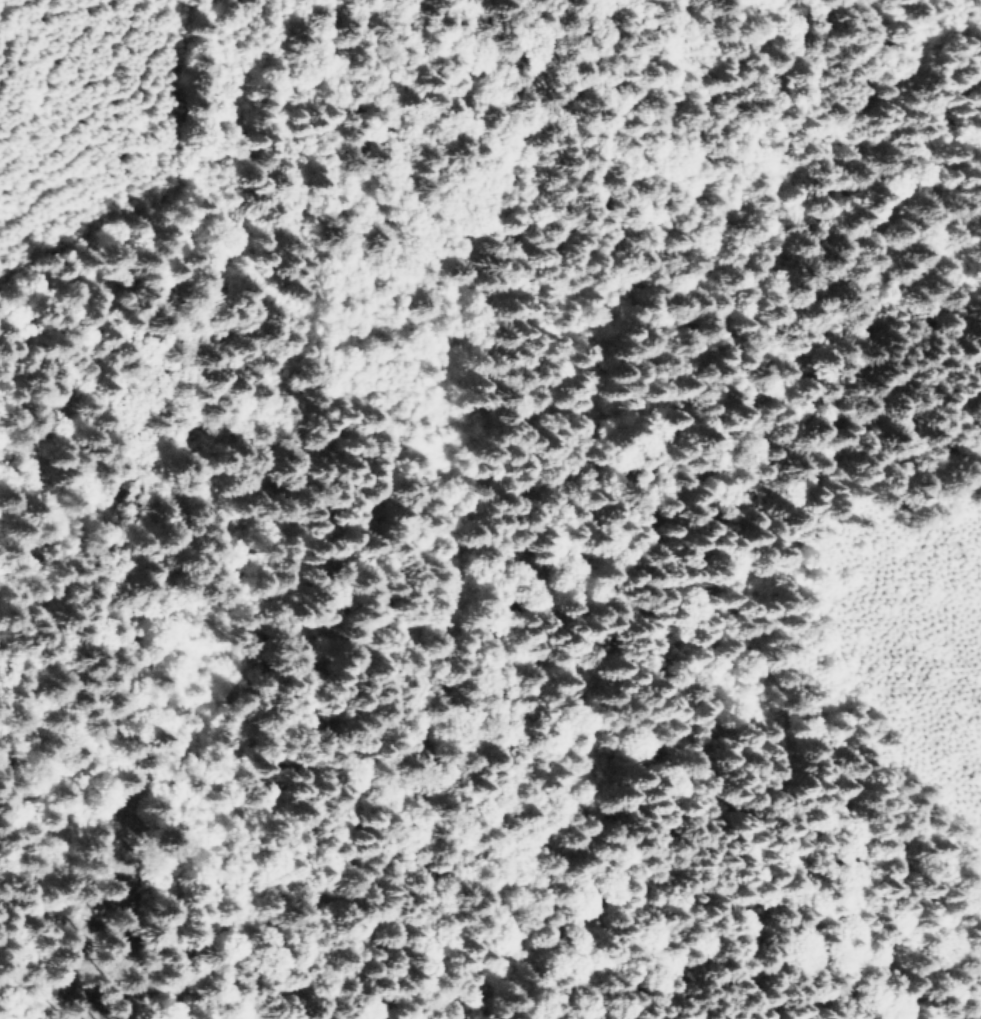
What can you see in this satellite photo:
road: (777, 131)
road: (319, 715)
road: (895, 746)
road: (0, 1018)

